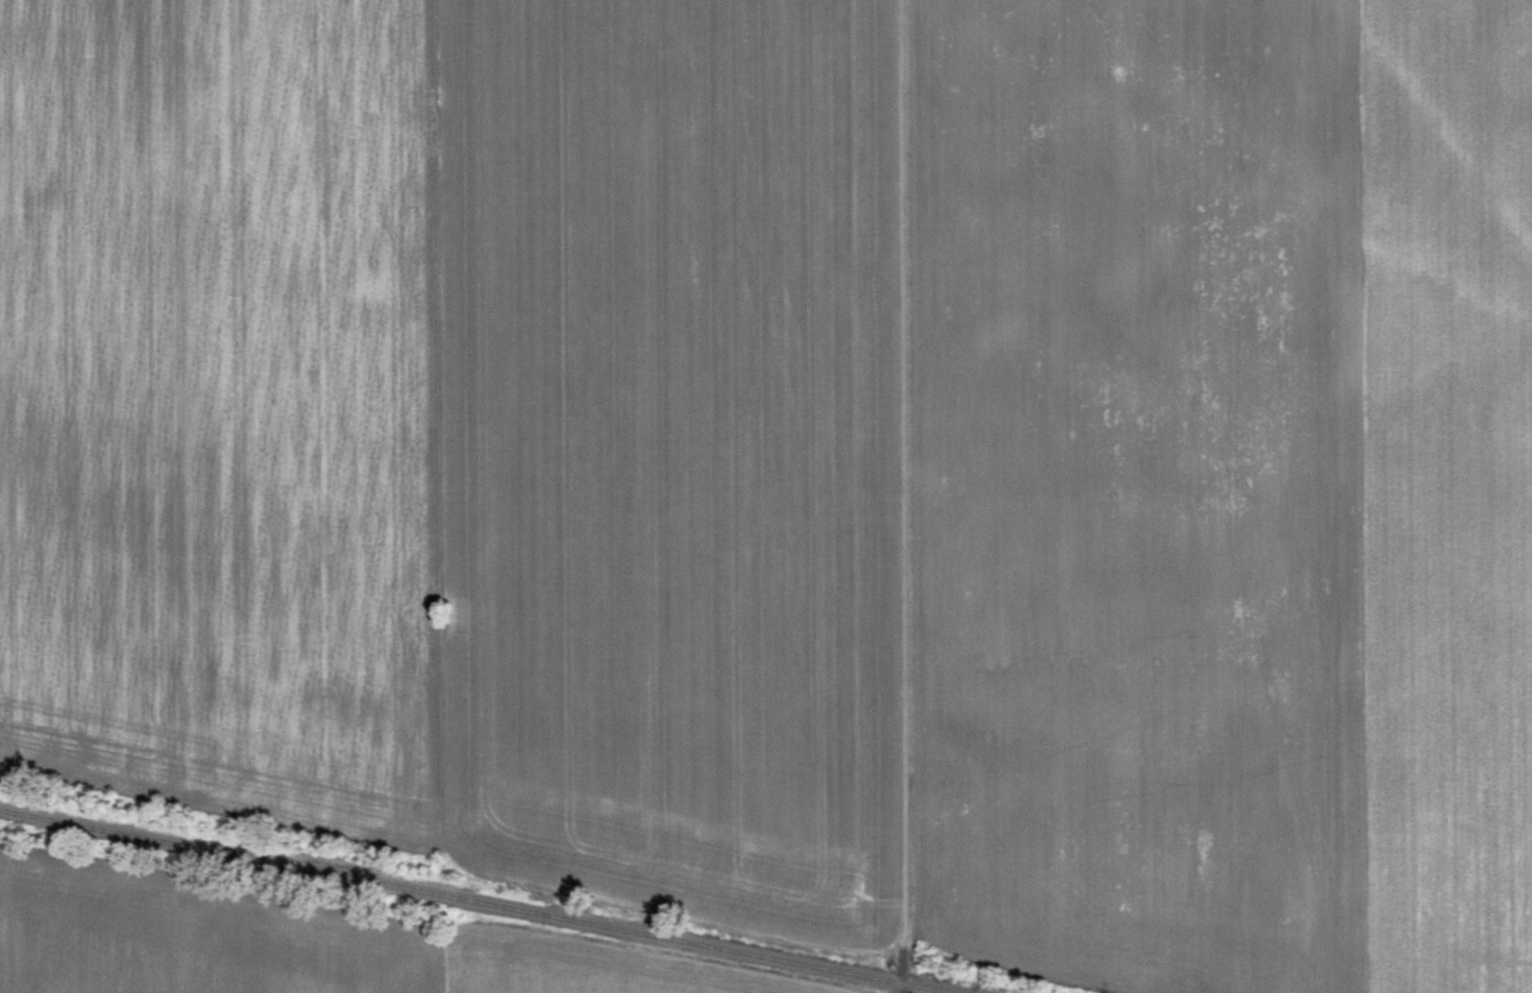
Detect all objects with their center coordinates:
railway: (474, 901)

